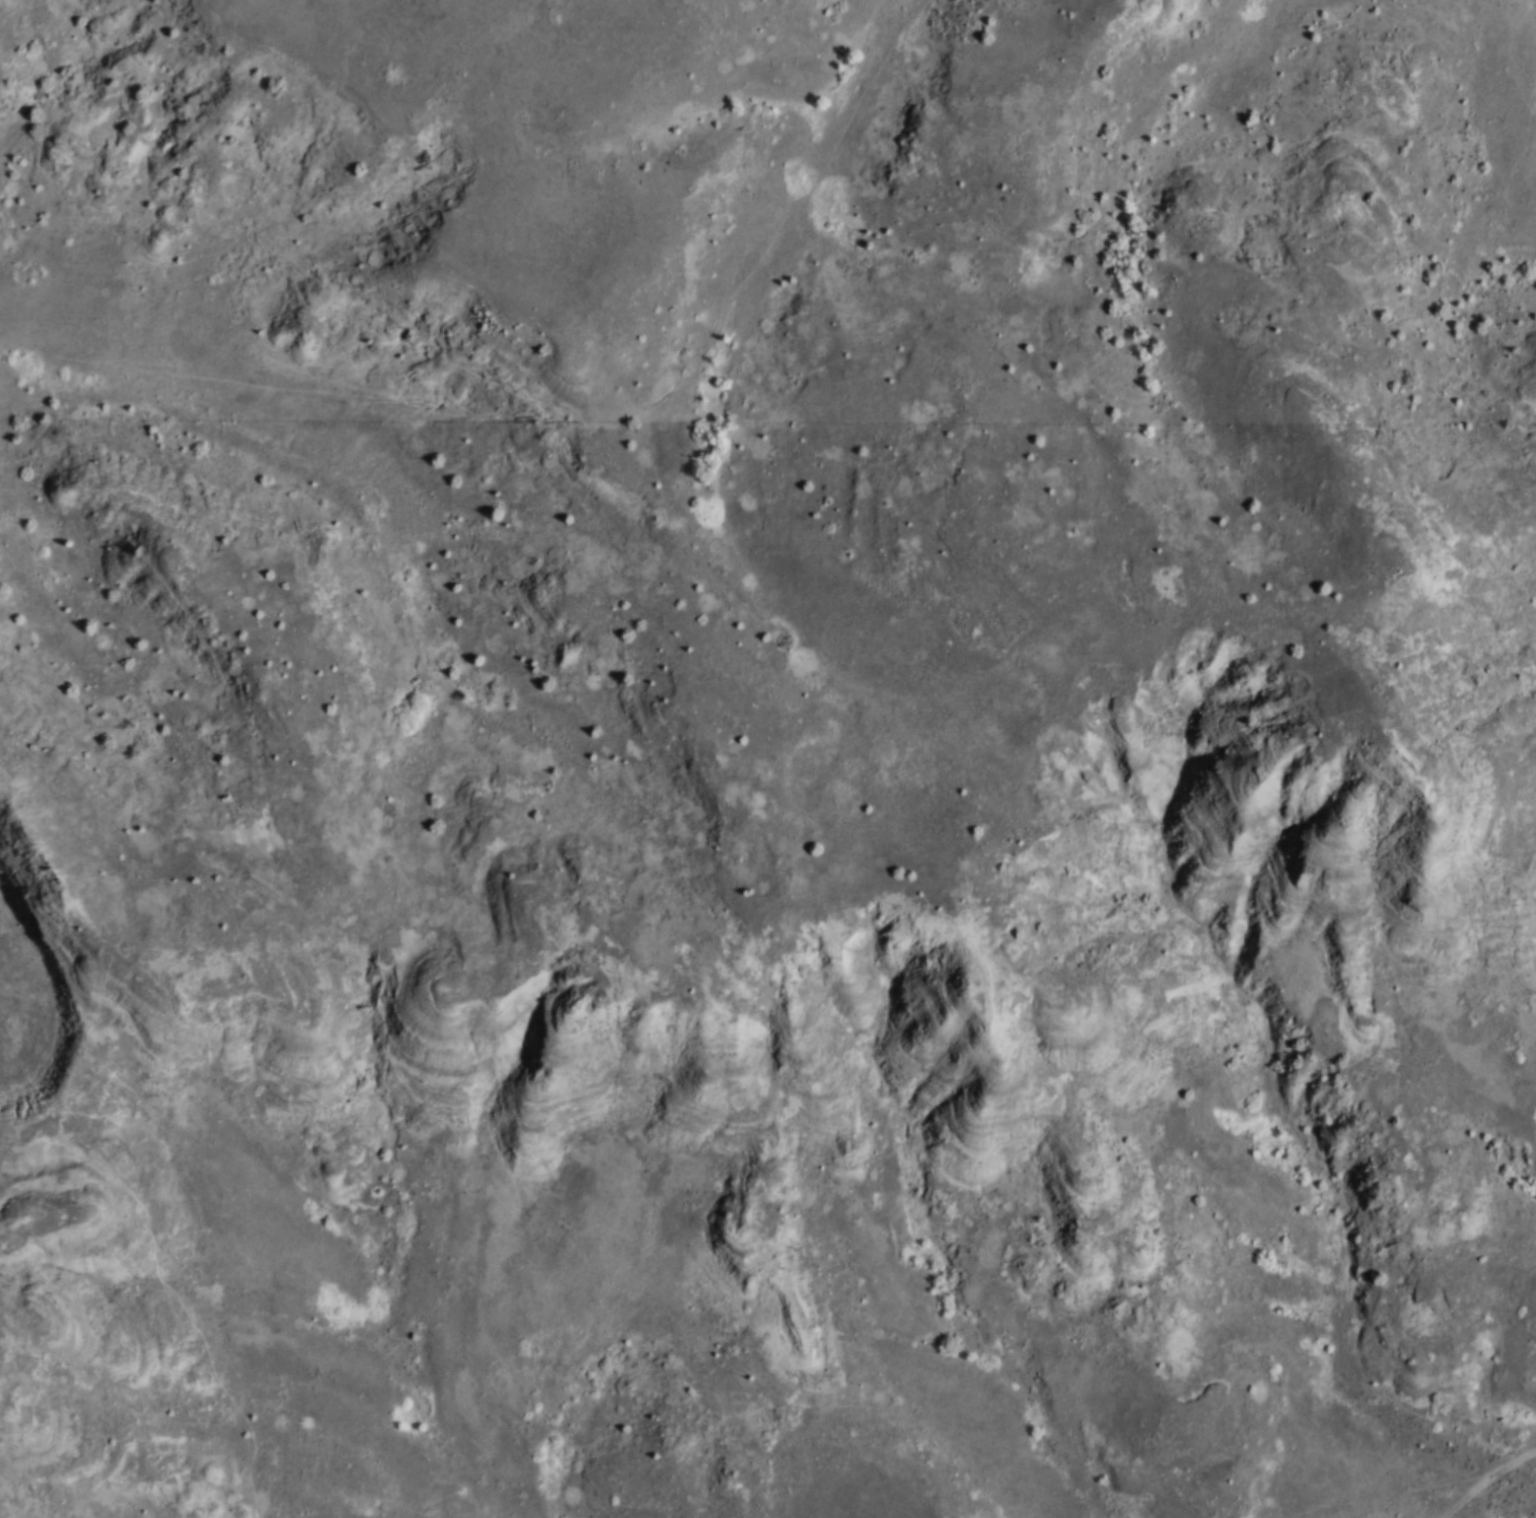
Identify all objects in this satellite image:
road: (1489, 1480)

